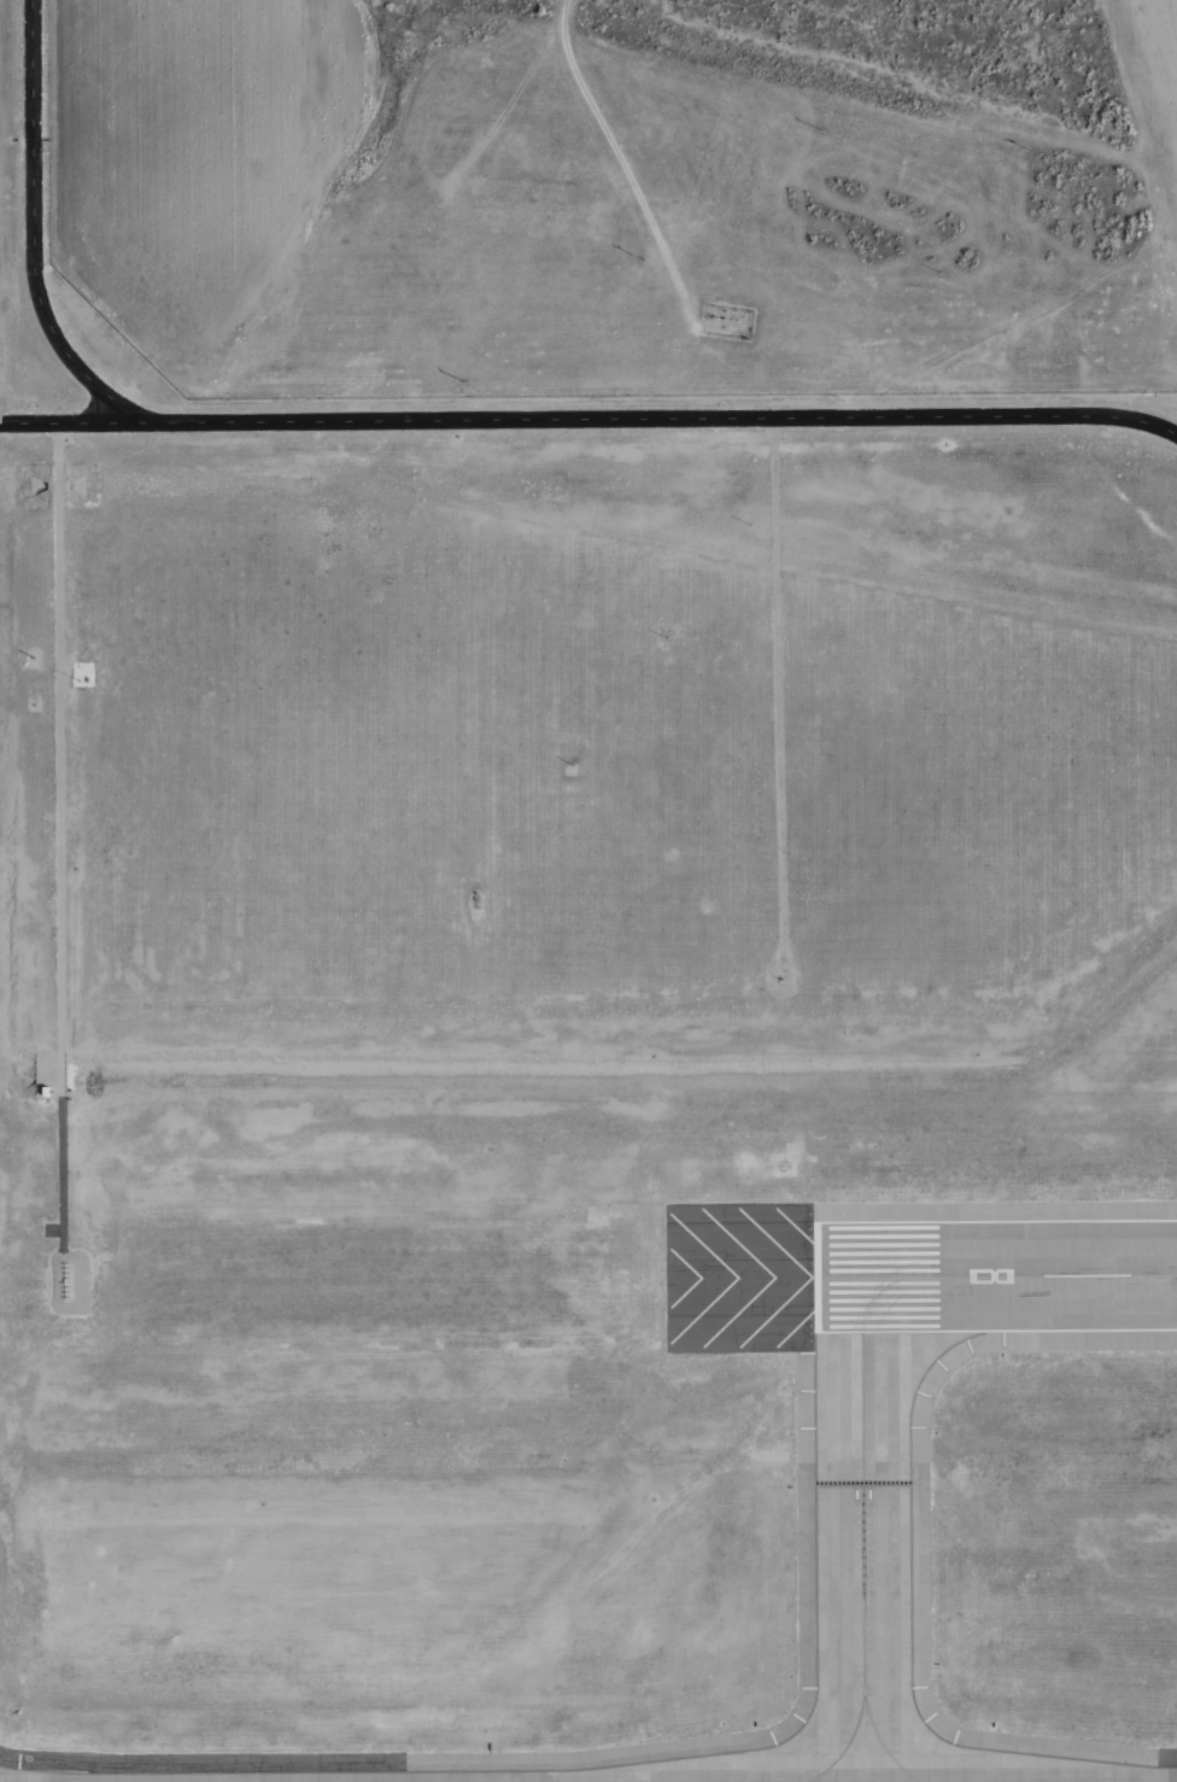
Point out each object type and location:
road: (623, 173)
road: (31, 235)
road: (590, 419)
road: (59, 837)
airport: (580, 1074)
building: (45, 1091)
airport runway: (995, 1276)
airport taxiway: (862, 1538)
airport taxiway: (879, 1743)

